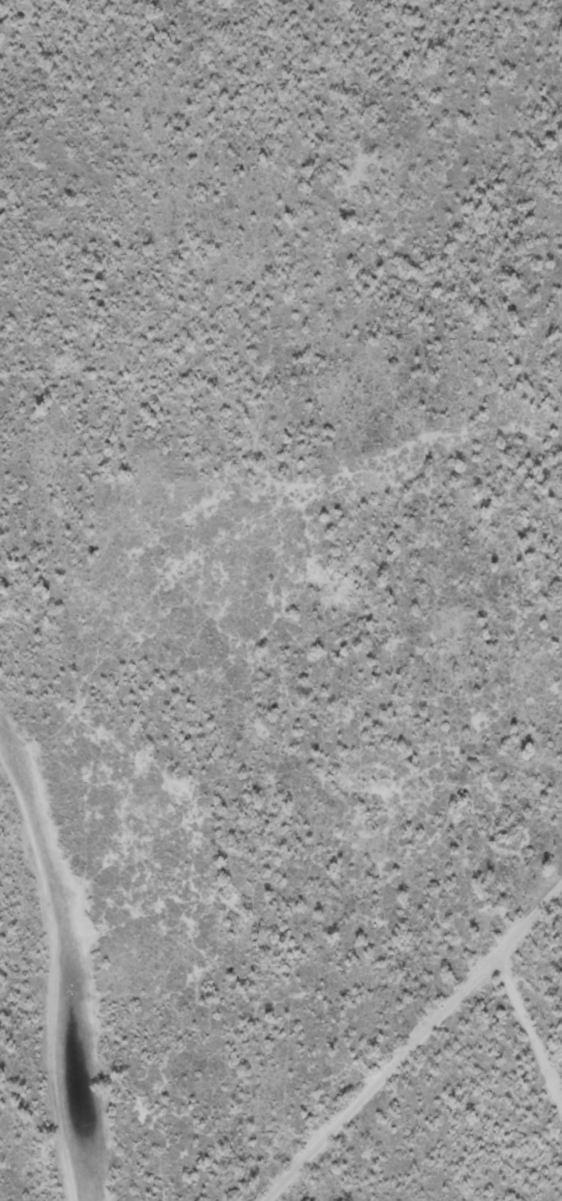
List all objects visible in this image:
road: (542, 1063)
road: (470, 1078)

